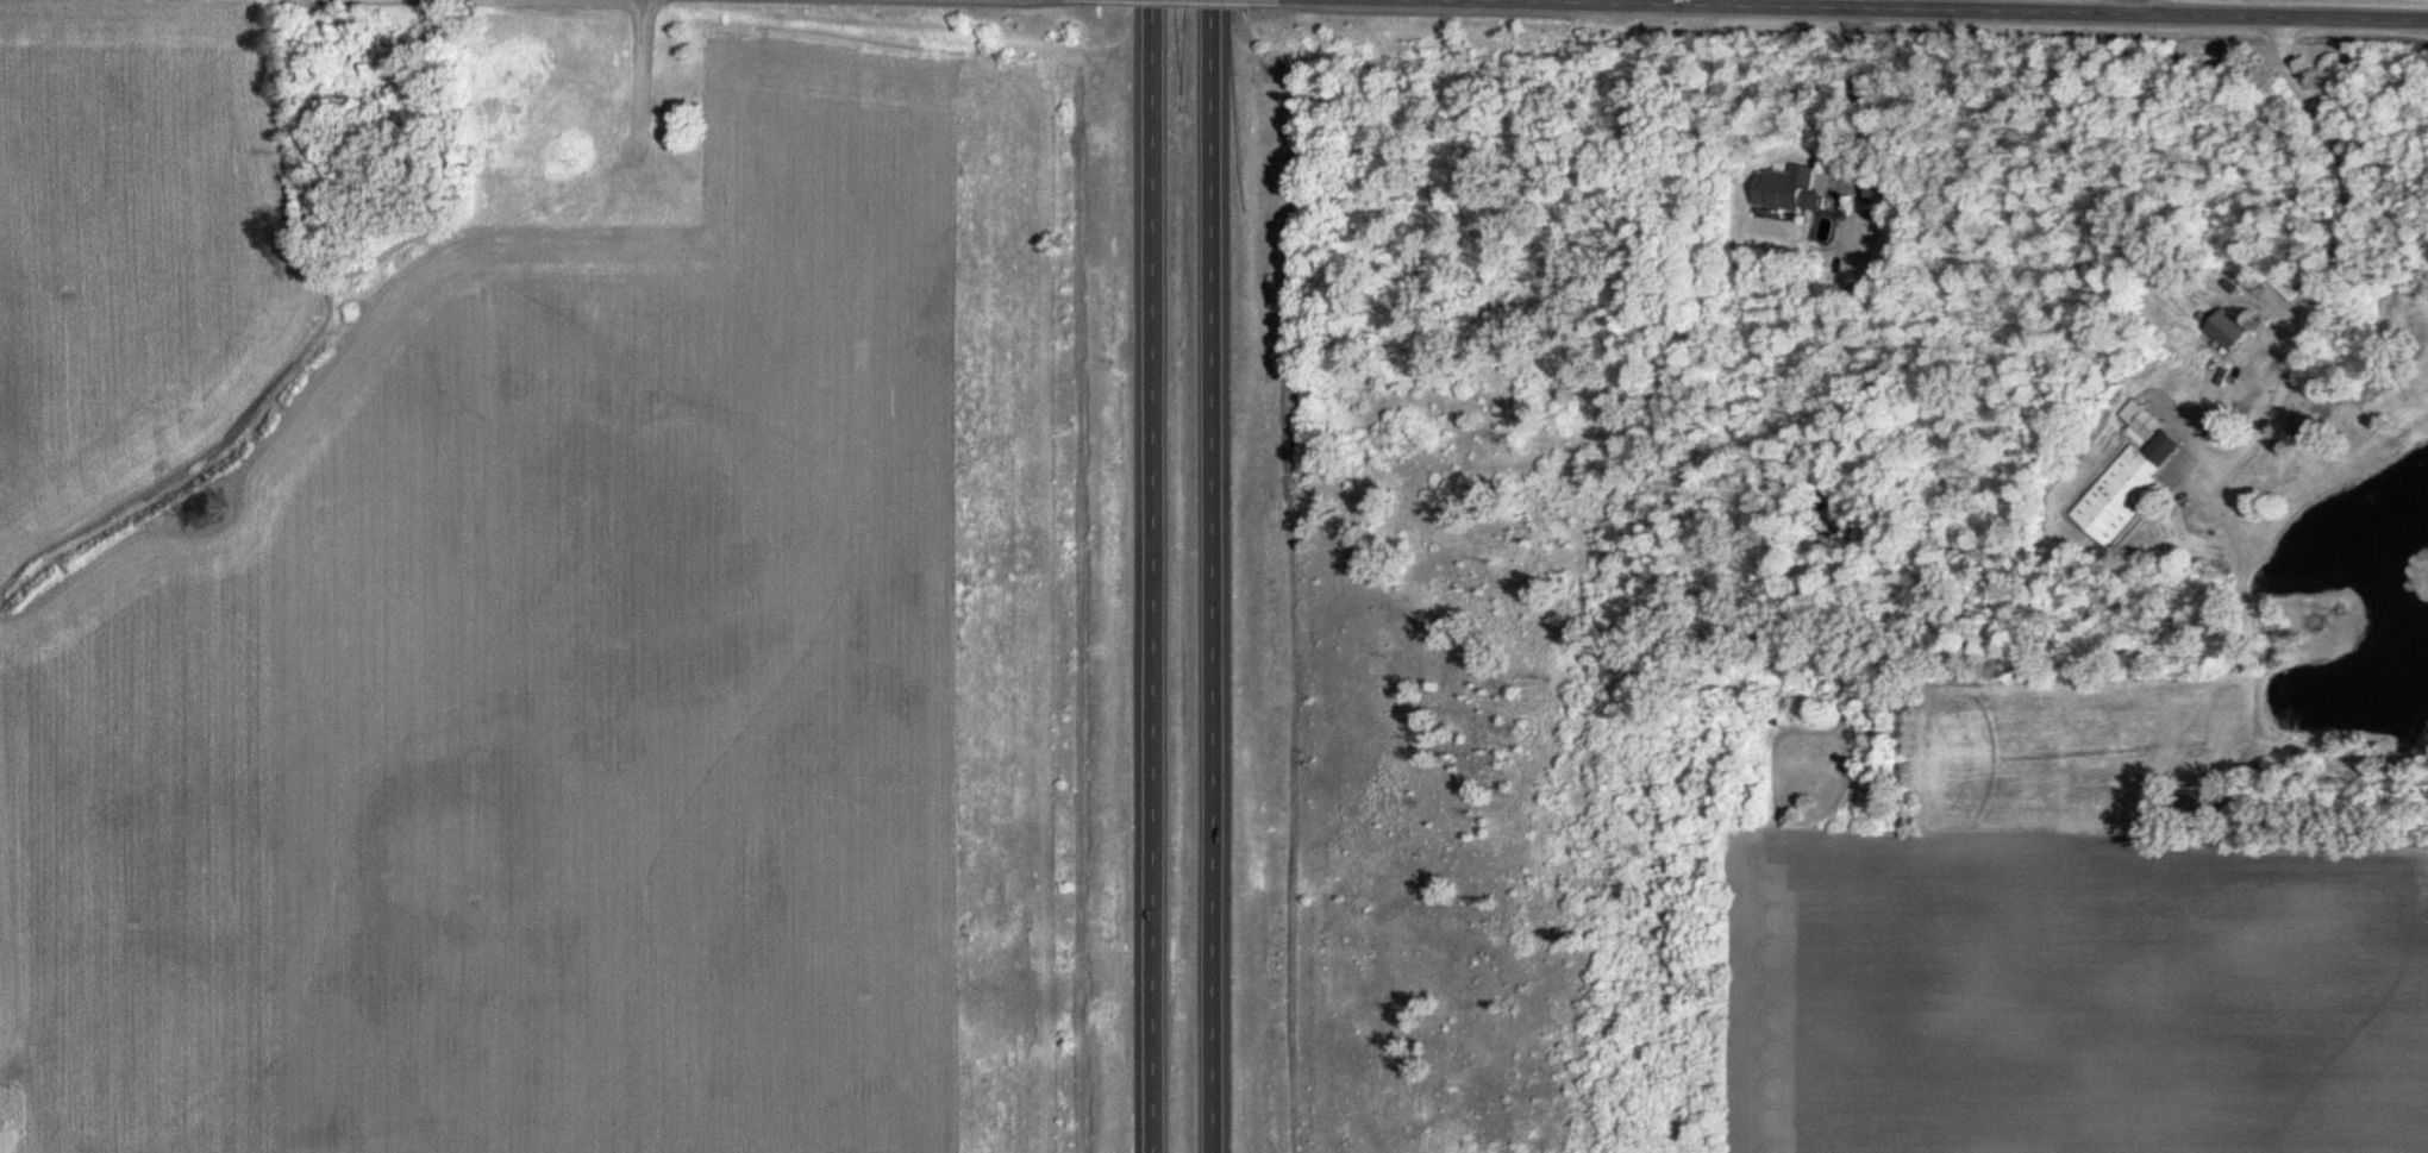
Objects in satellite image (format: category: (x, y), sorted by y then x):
road: (1632, 2)
road: (2129, 8)
road: (1914, 11)
road: (1850, 94)
building: (1790, 189)
crop: (136, 242)
building: (2288, 286)
road: (2320, 289)
building: (2234, 331)
building: (2130, 477)
road: (1154, 576)
road: (1213, 576)
crop: (996, 608)
crop: (525, 697)
crop: (2071, 996)
crop: (8, 1121)

